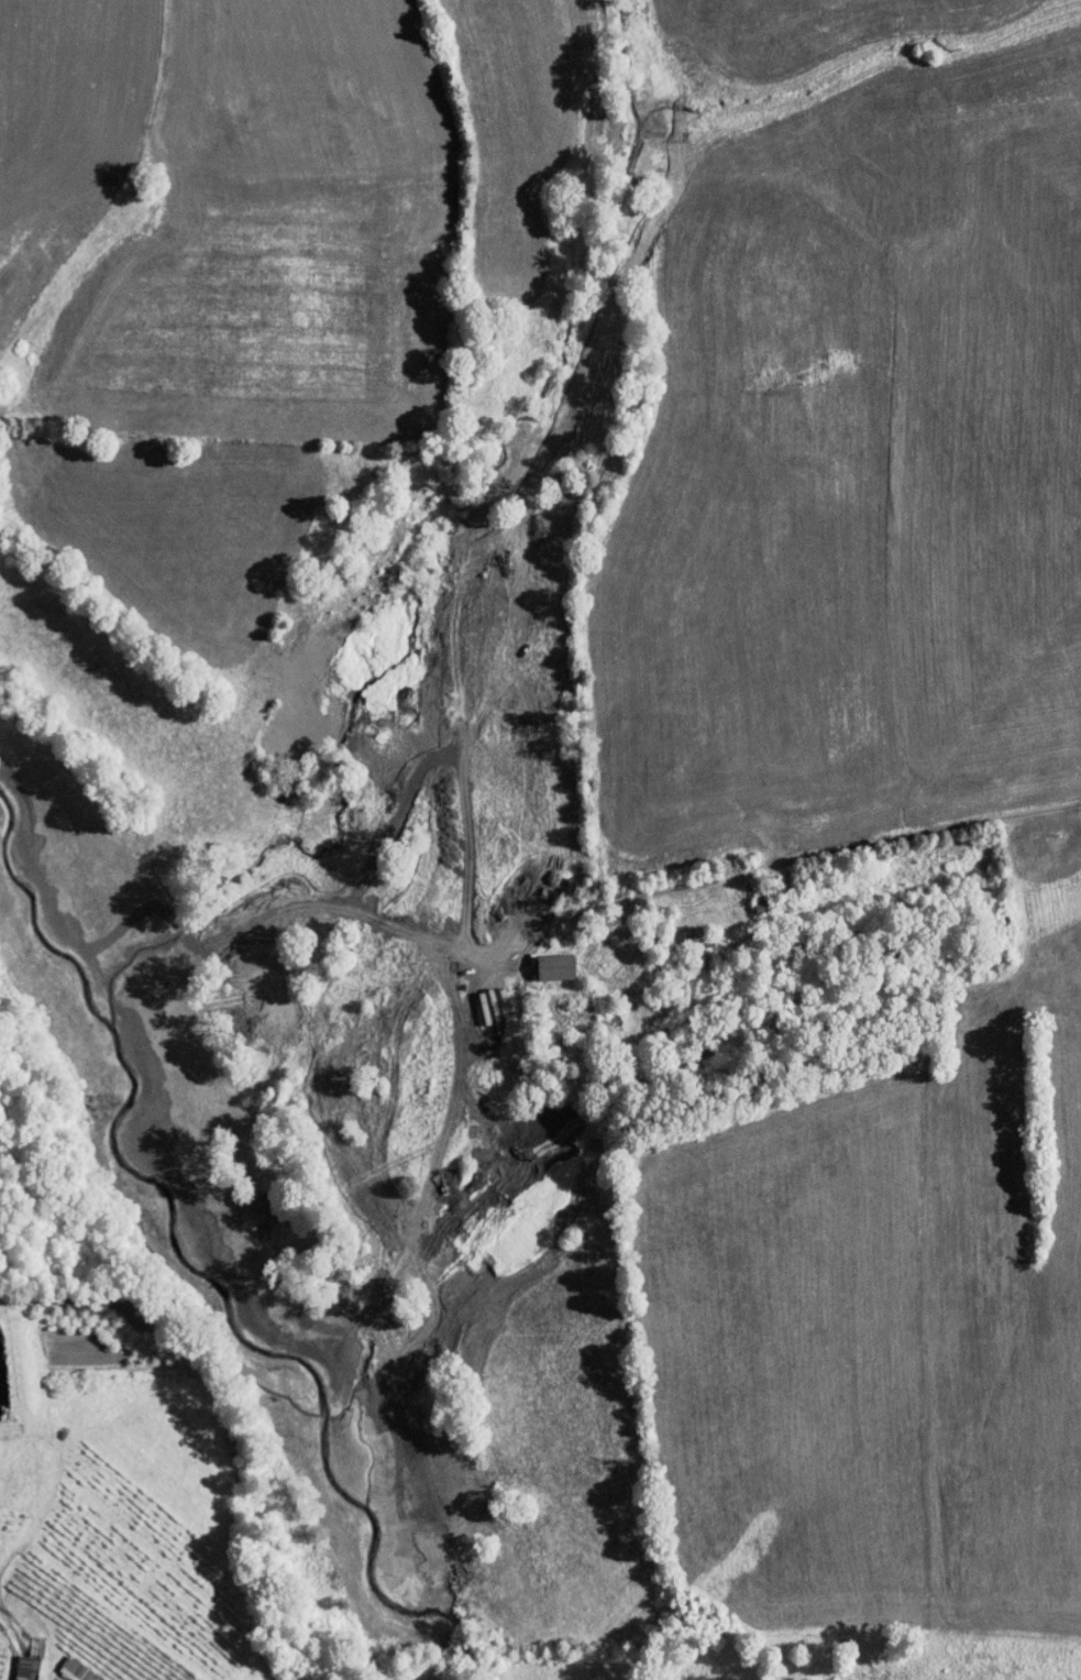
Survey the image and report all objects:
road: (928, 837)
building: (750, 894)
building: (544, 960)
building: (14, 1665)
building: (64, 1665)

